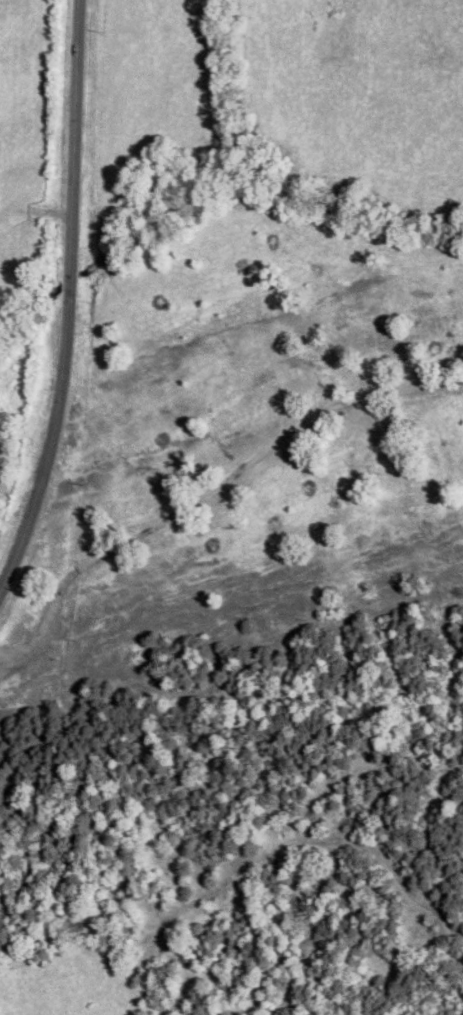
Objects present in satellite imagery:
road: (72, 291)

